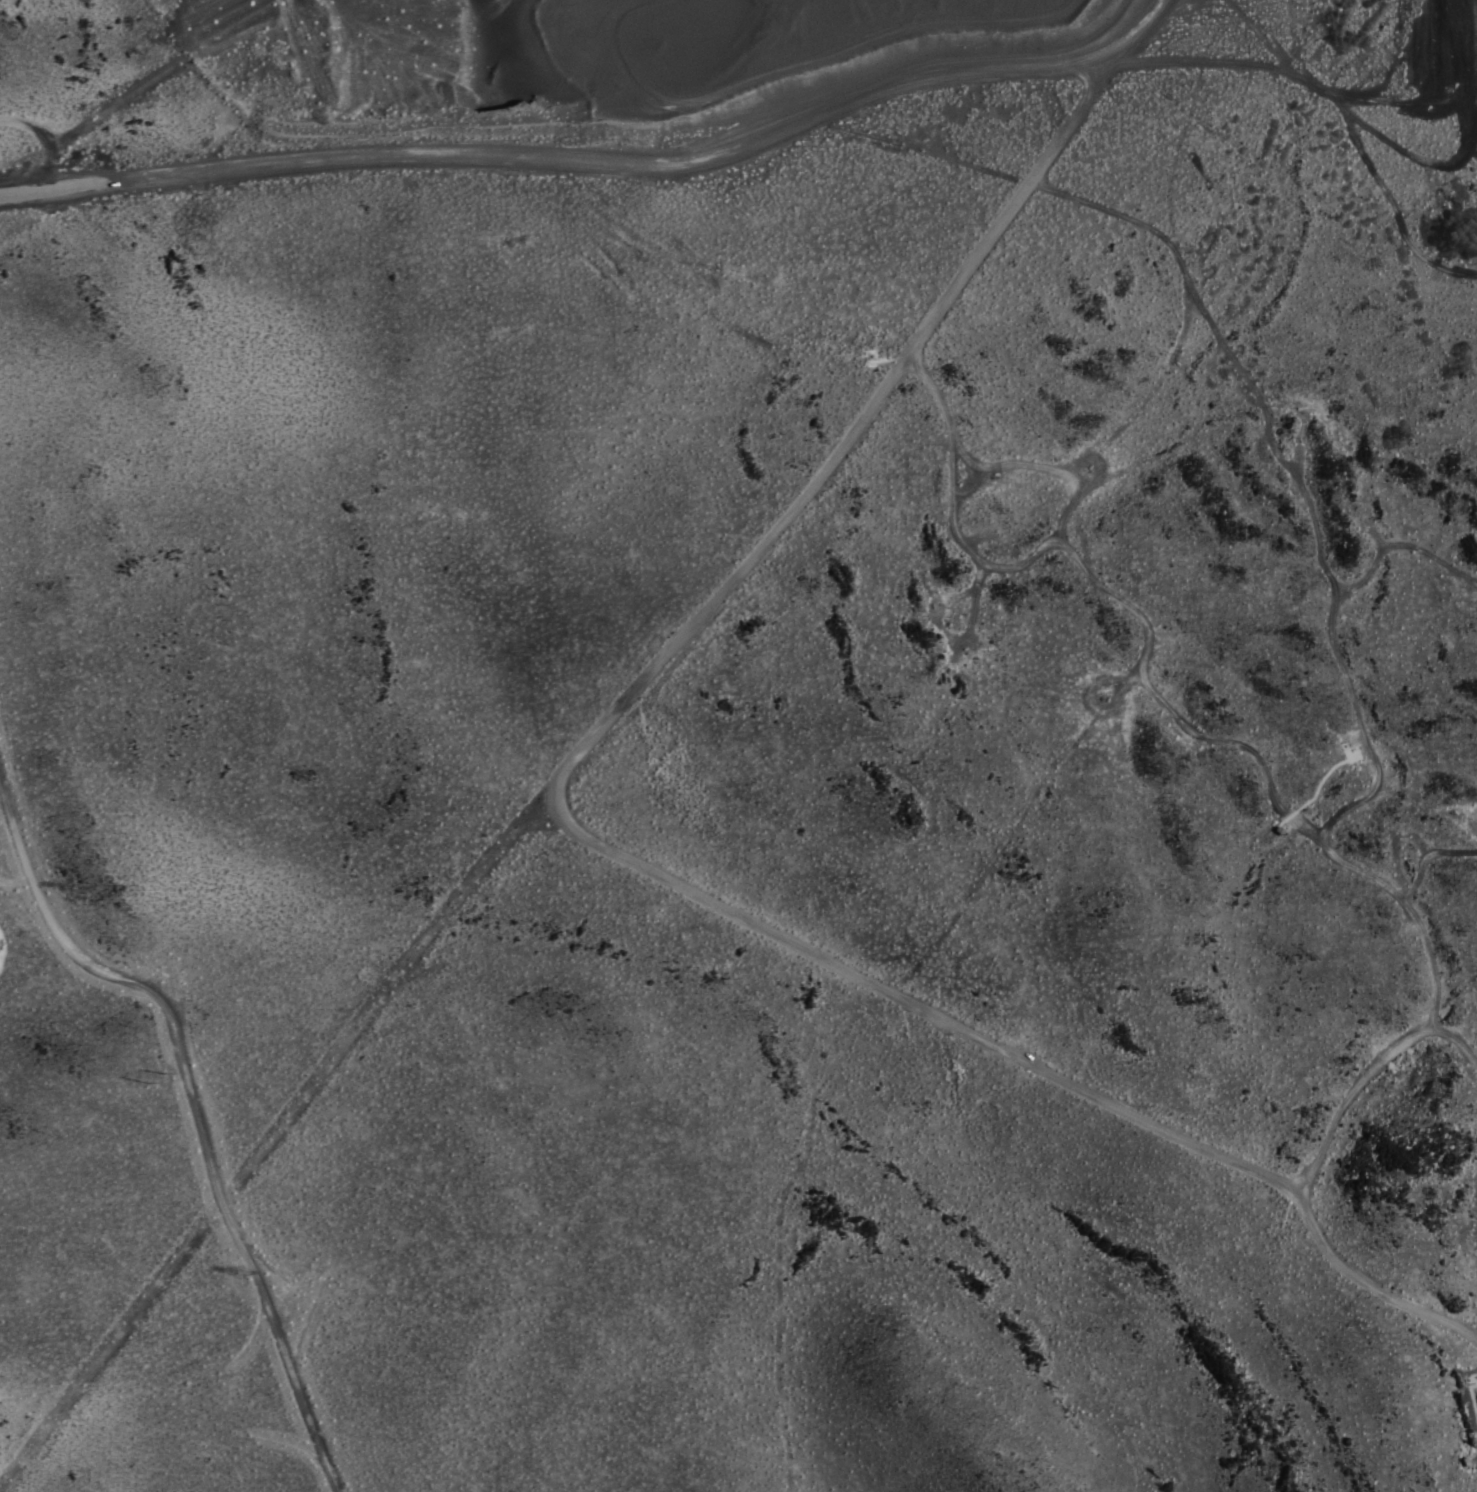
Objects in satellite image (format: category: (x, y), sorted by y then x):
road: (39, 139)
road: (598, 158)
road: (1233, 740)
building: (1352, 753)
road: (611, 846)
power tower: (72, 888)
power tower: (152, 1078)
power tower: (244, 1274)

